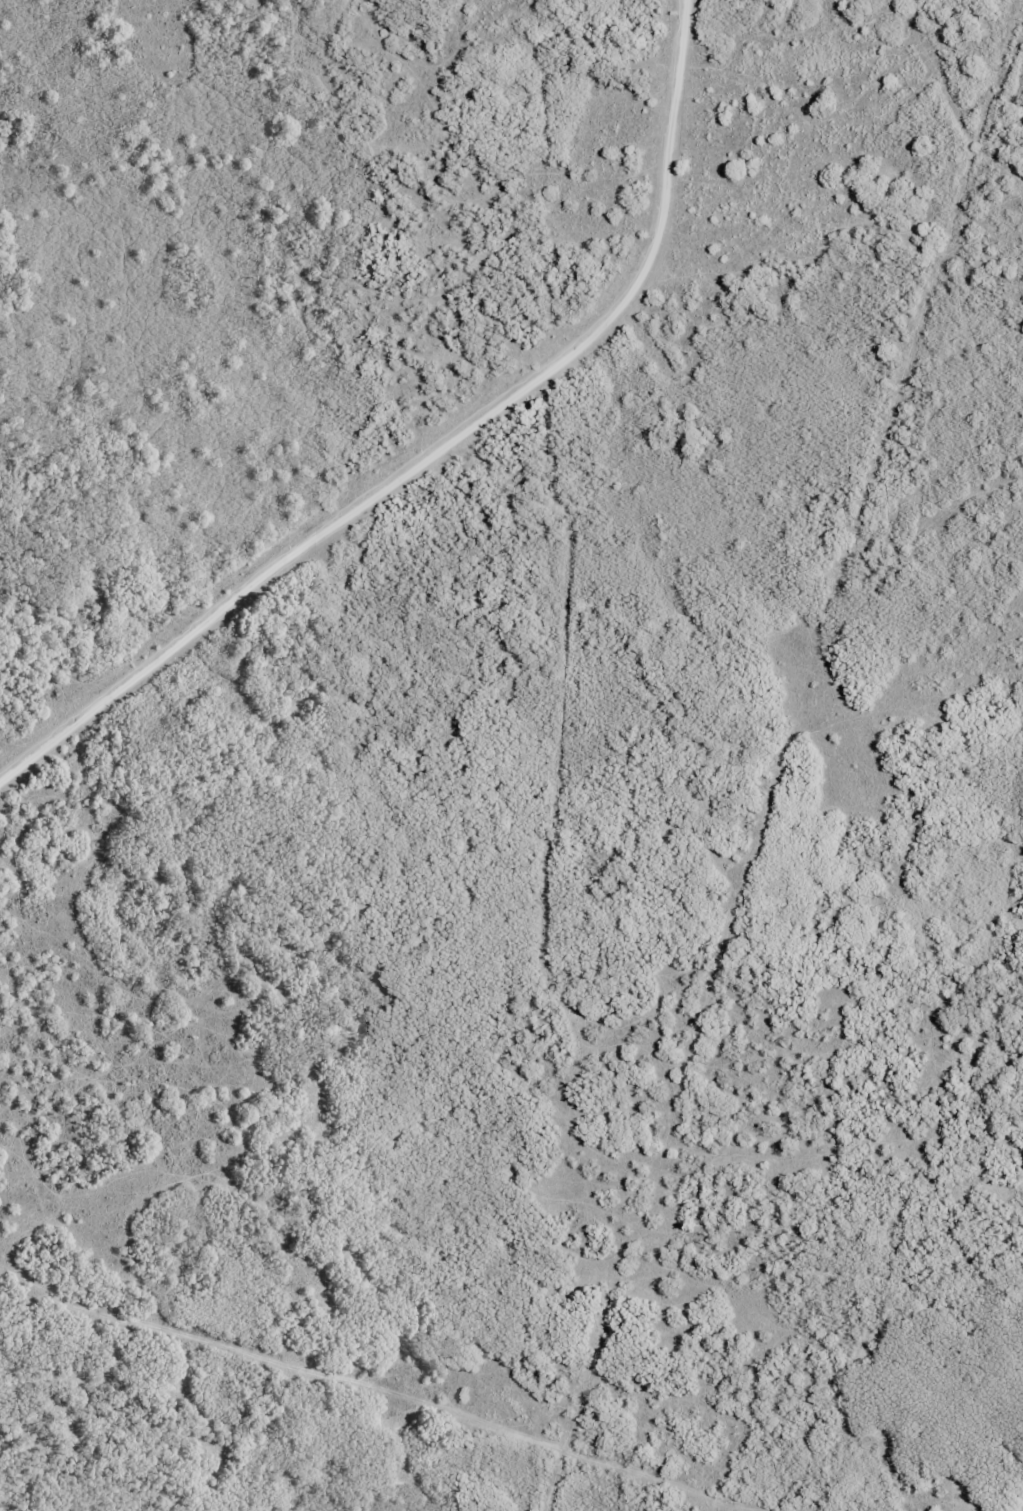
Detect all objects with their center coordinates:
road: (441, 456)

